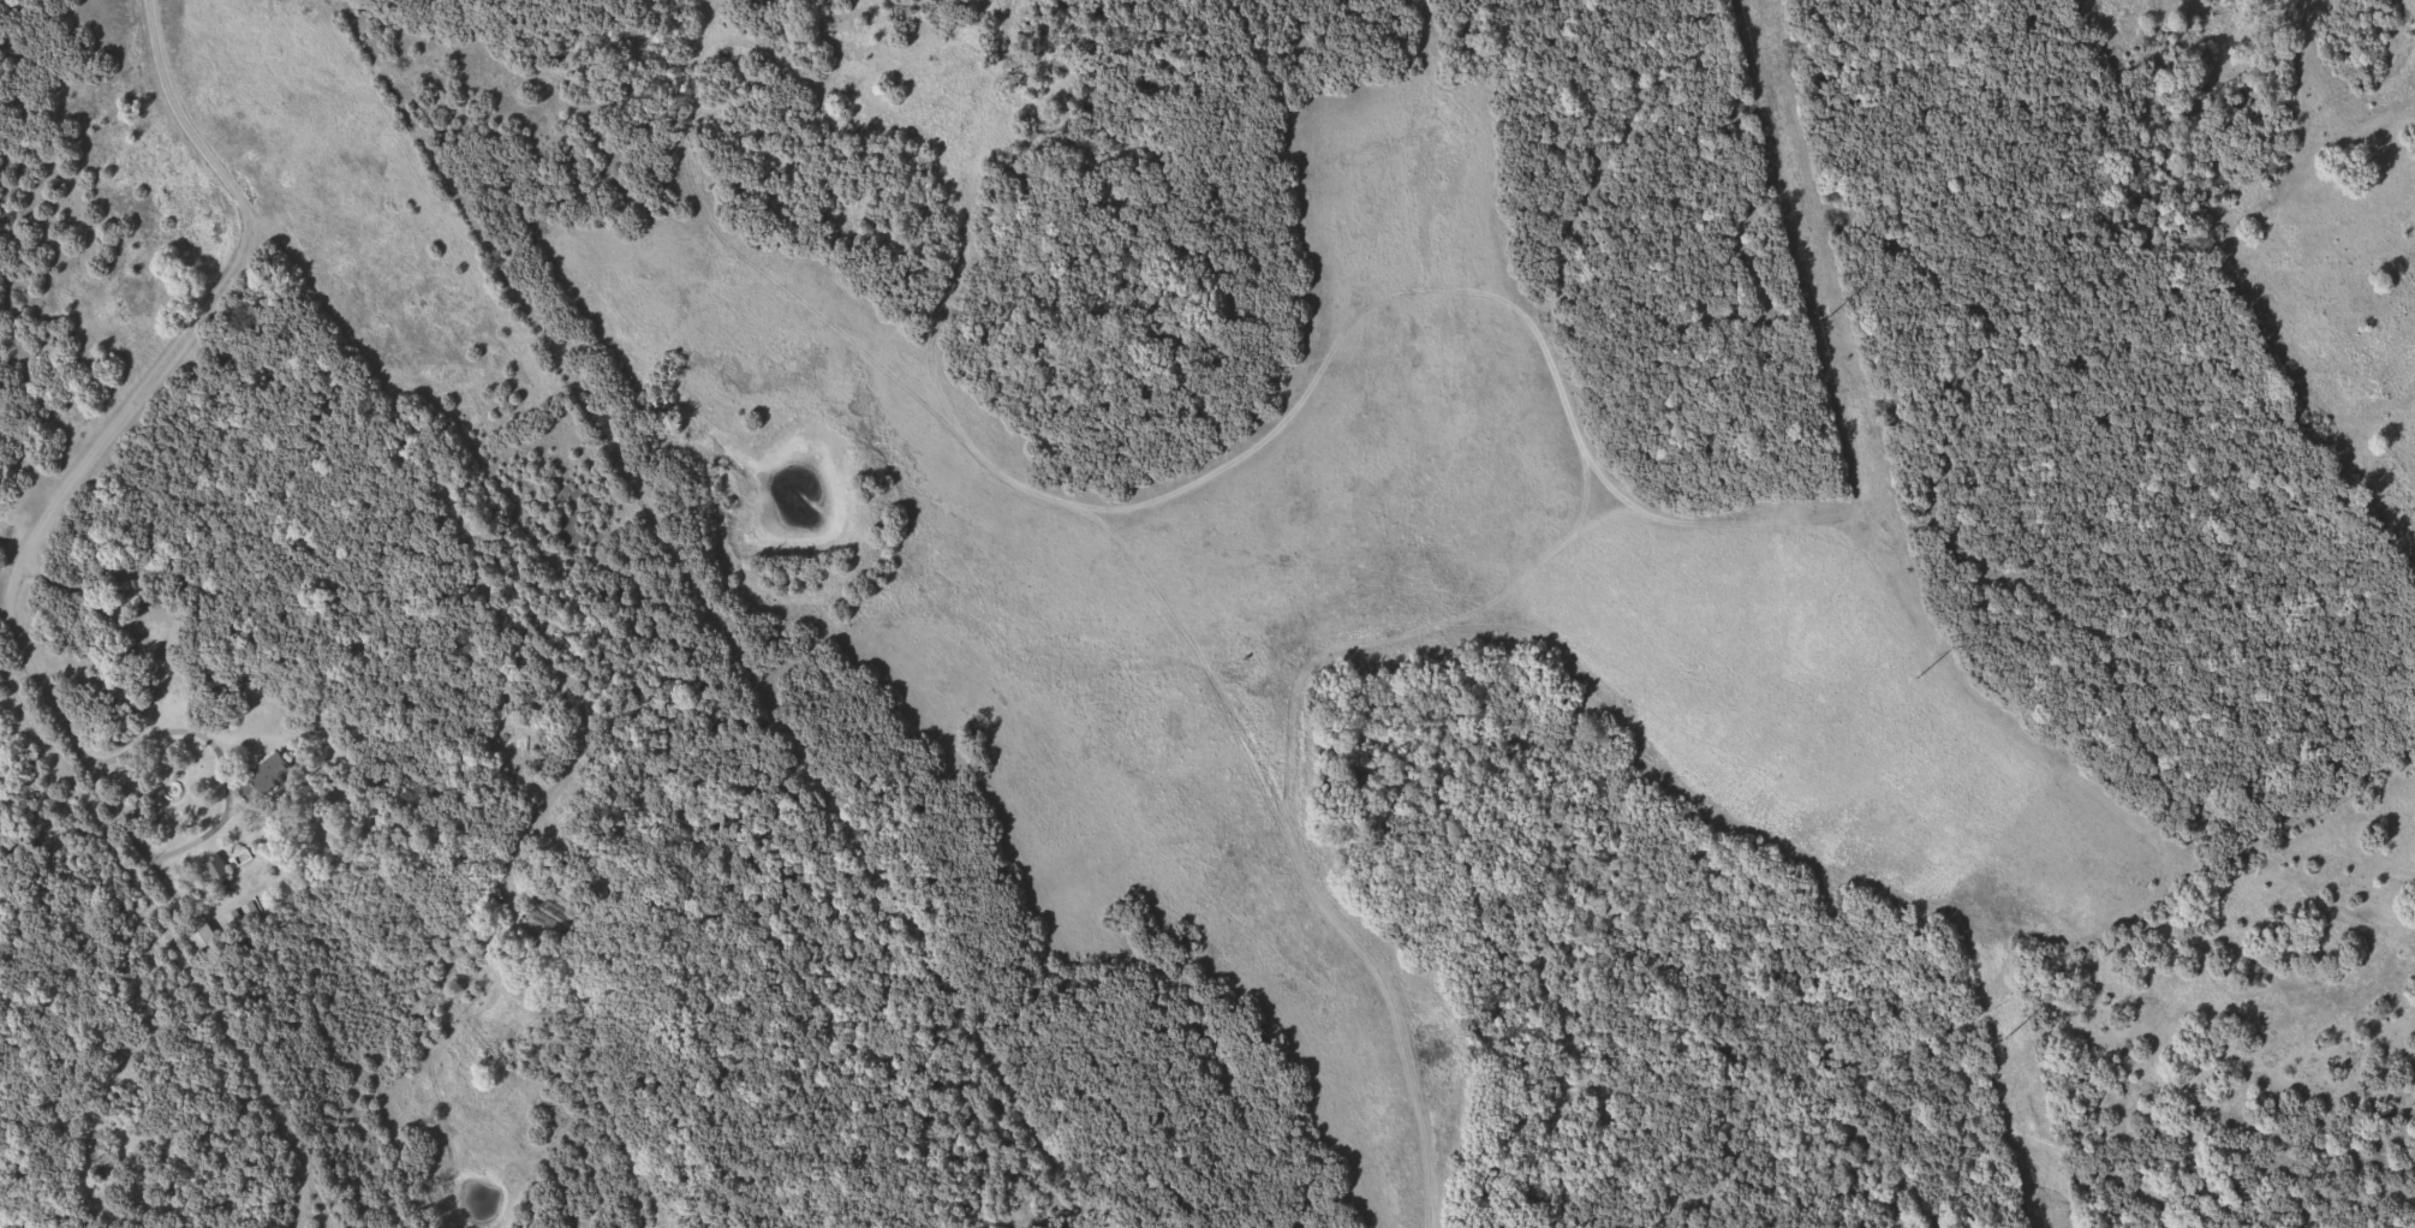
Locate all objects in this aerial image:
road: (151, 385)
building: (175, 633)
building: (275, 765)
road: (229, 809)
building: (217, 869)
building: (204, 937)

